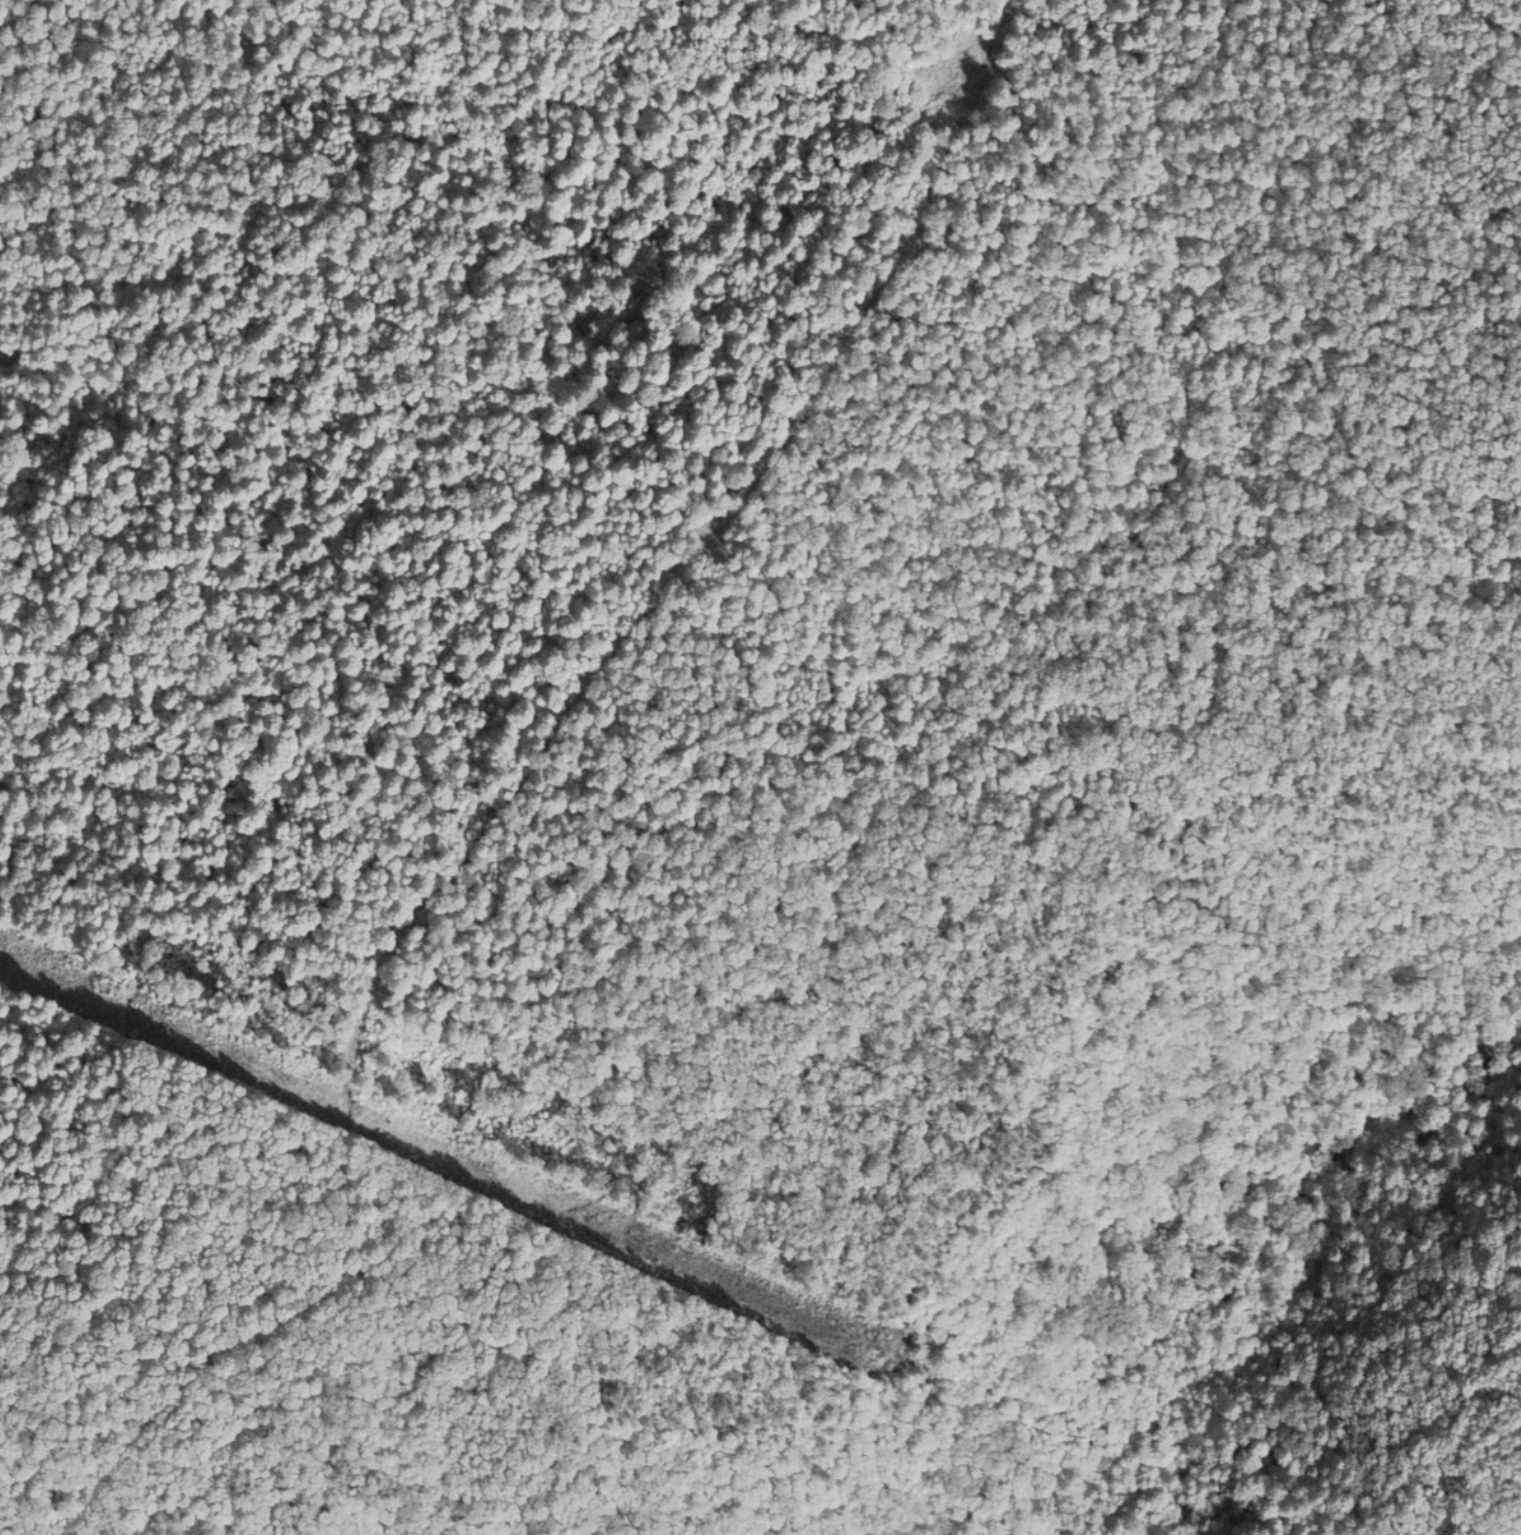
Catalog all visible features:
road: (713, 432)

